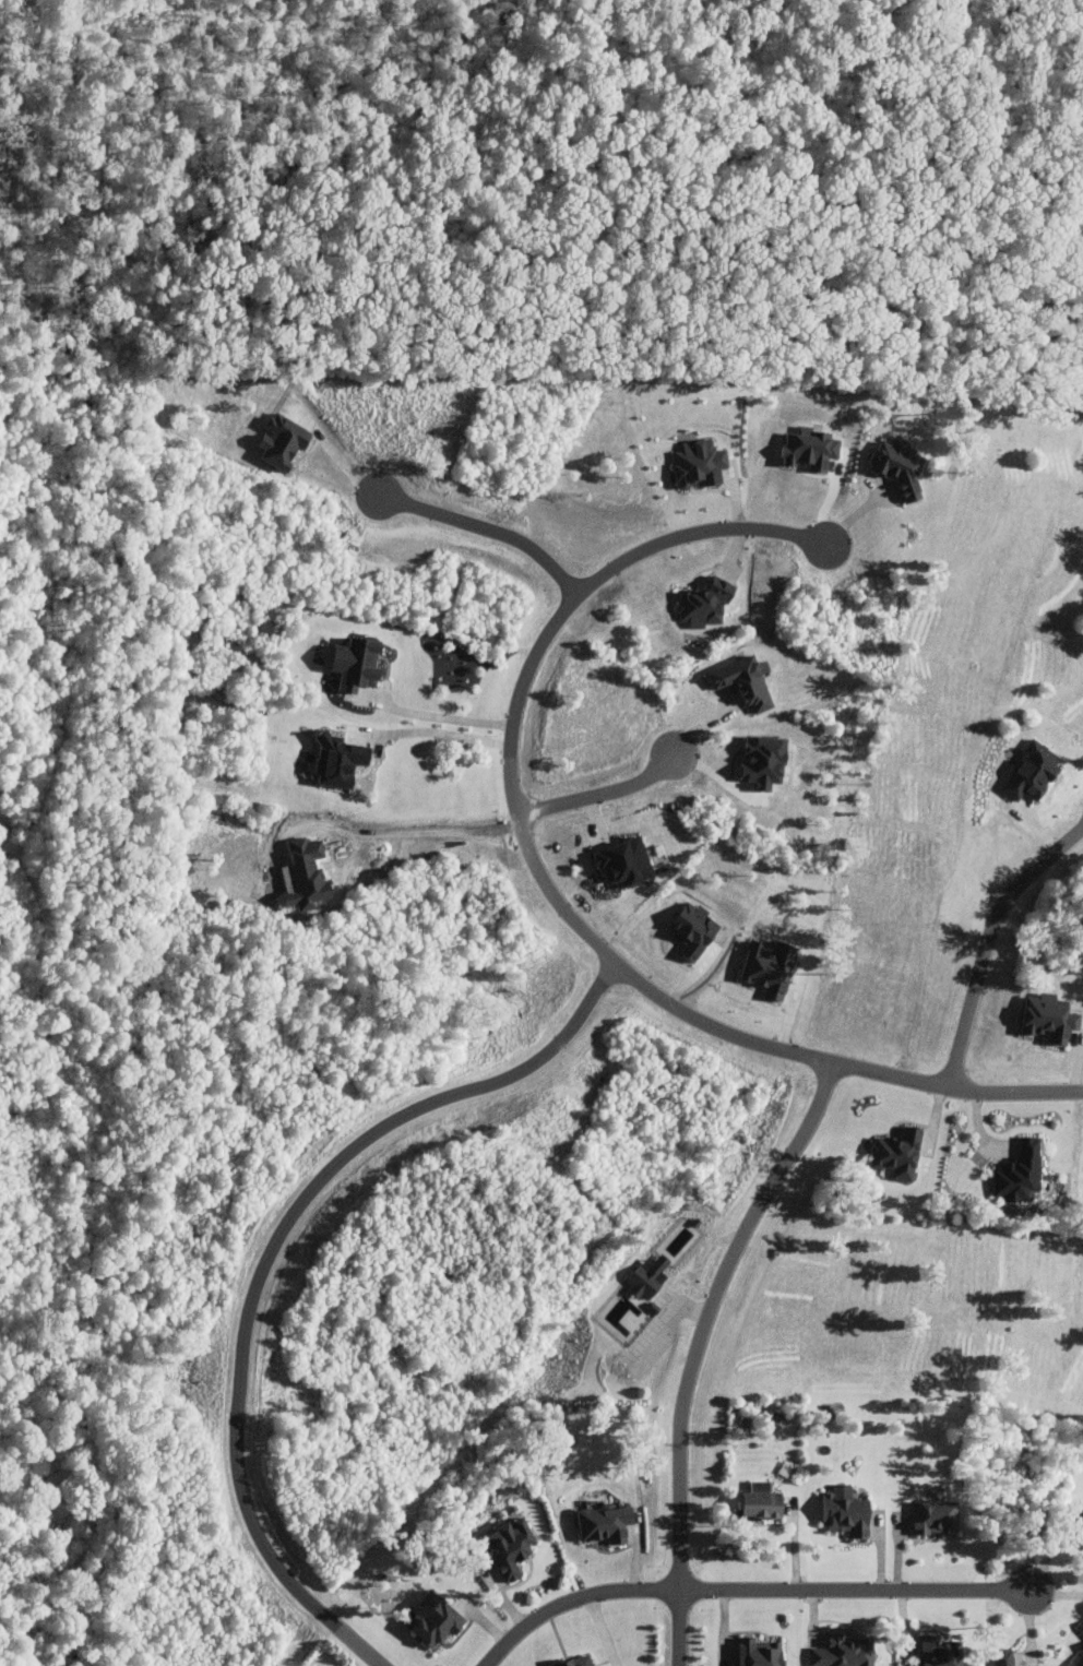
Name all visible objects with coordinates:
building: (283, 440)
building: (700, 463)
building: (901, 465)
road: (490, 533)
building: (706, 603)
building: (357, 663)
building: (745, 681)
road: (438, 716)
road: (437, 730)
building: (340, 760)
building: (1033, 772)
road: (514, 777)
road: (602, 800)
road: (407, 830)
building: (627, 862)
road: (990, 947)
building: (1050, 1018)
road: (959, 1092)
building: (898, 1153)
building: (1021, 1173)
road: (270, 1262)
building: (650, 1277)
road: (712, 1316)
building: (763, 1499)
building: (847, 1511)
building: (935, 1515)
building: (606, 1521)
building: (1082, 1532)
building: (509, 1545)
road: (857, 1591)
road: (574, 1603)
building: (435, 1617)
road: (679, 1628)
building: (1082, 1628)
road: (600, 1632)
building: (844, 1651)
building: (941, 1651)
building: (758, 1652)
building: (1003, 1657)
building: (1078, 1659)
building: (578, 1661)

